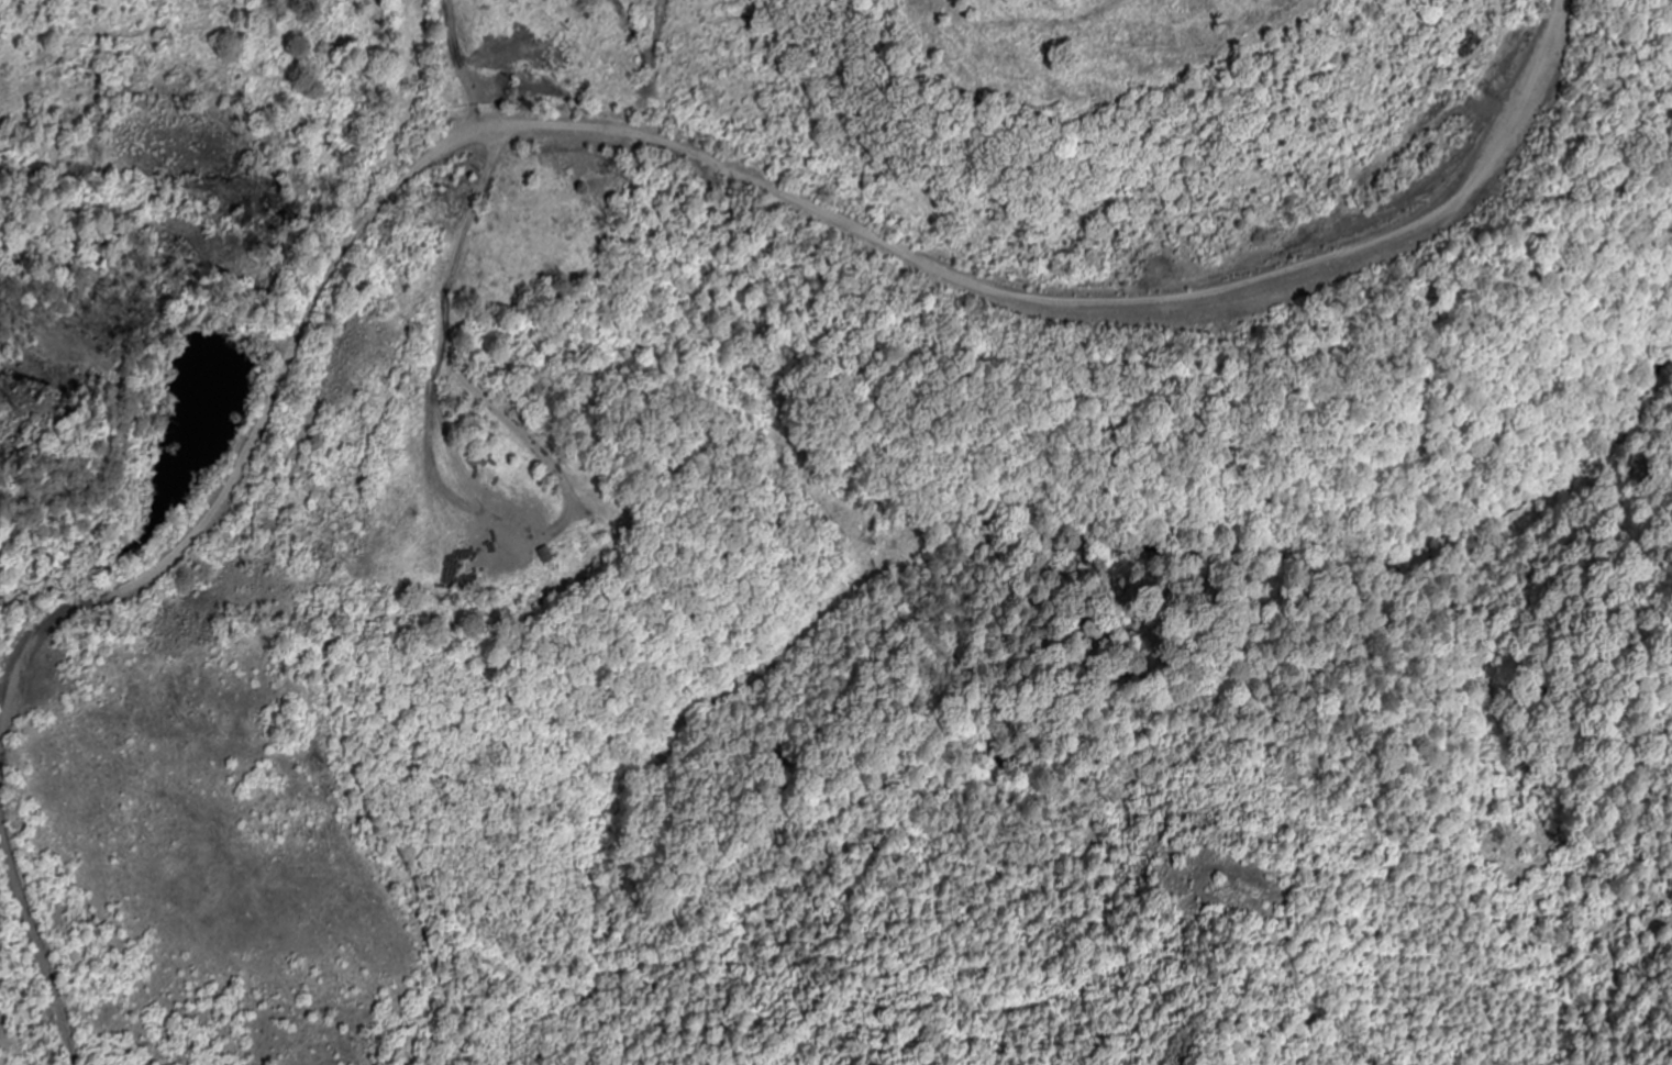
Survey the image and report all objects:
quarry: (654, 433)

